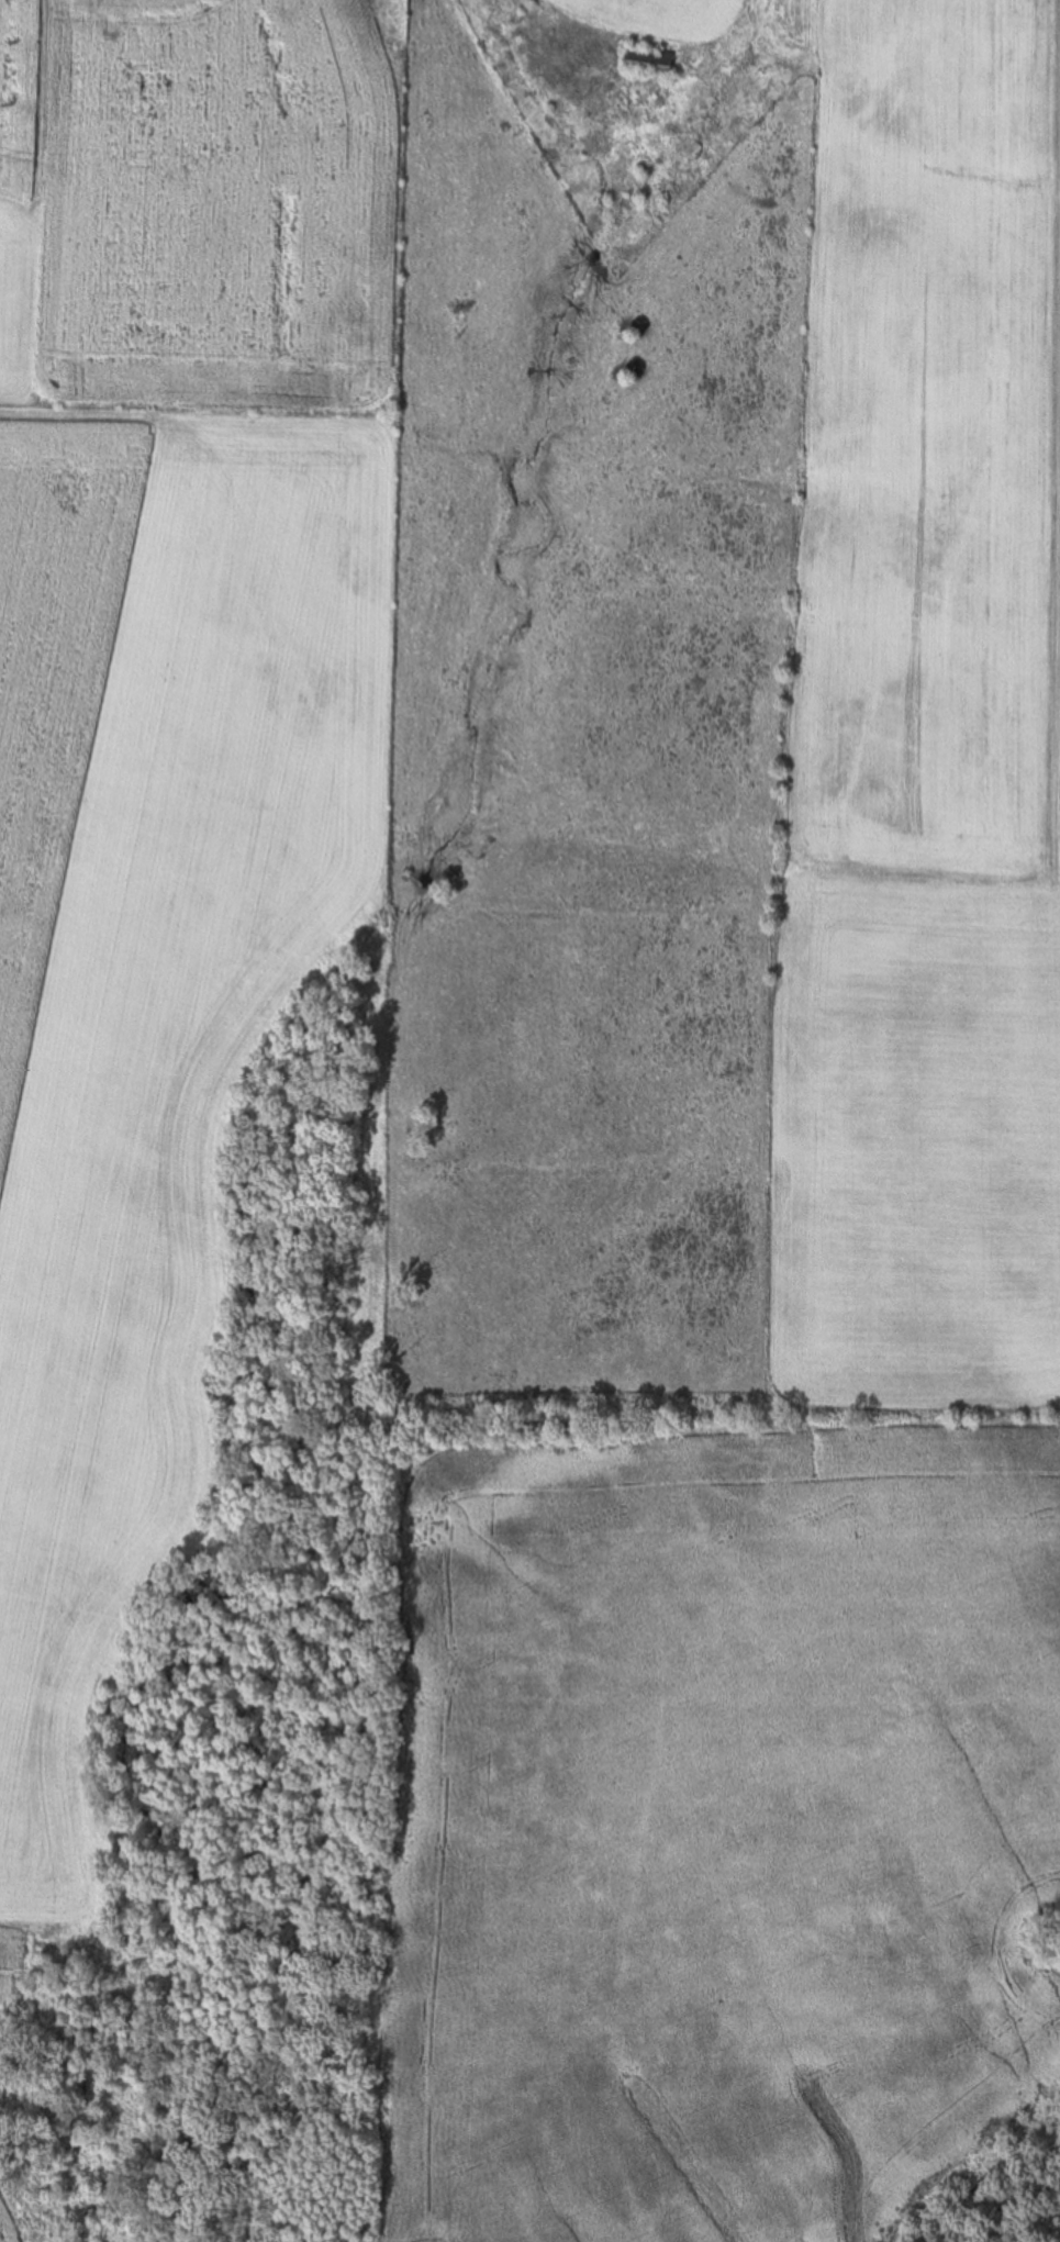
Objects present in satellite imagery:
building: (650, 60)

